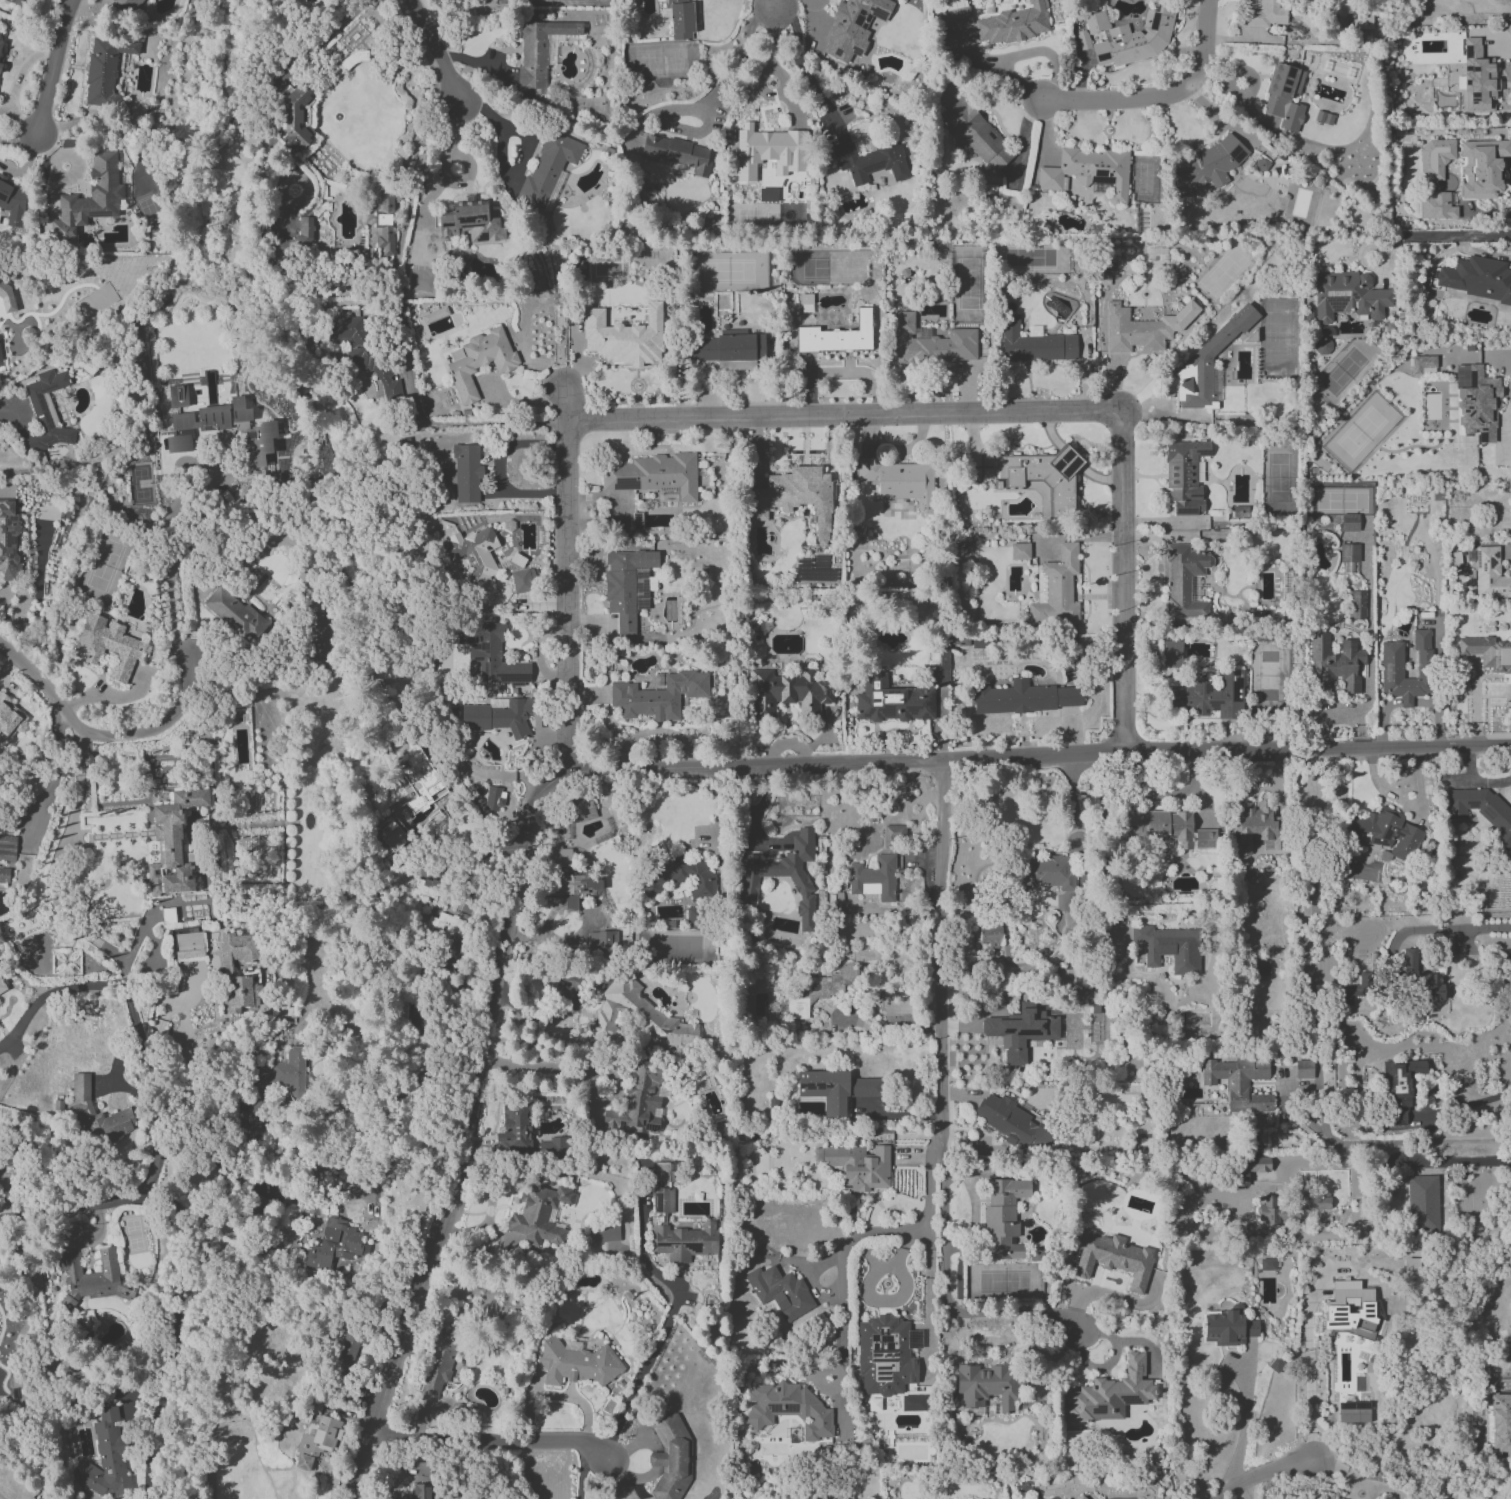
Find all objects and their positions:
building: (23, 3)
building: (129, 4)
building: (1498, 6)
road: (777, 7)
building: (1265, 14)
building: (955, 17)
building: (679, 19)
building: (1362, 20)
building: (1013, 24)
building: (853, 27)
building: (0, 32)
building: (1126, 38)
building: (0, 45)
road: (437, 54)
building: (1, 62)
road: (53, 68)
building: (105, 70)
road: (805, 72)
road: (760, 79)
building: (1478, 79)
road: (1162, 97)
building: (1284, 97)
road: (702, 103)
building: (295, 118)
building: (977, 134)
building: (768, 151)
building: (677, 153)
building: (1435, 159)
building: (870, 161)
road: (444, 164)
building: (1207, 165)
building: (1260, 165)
building: (1483, 167)
building: (548, 168)
building: (1089, 171)
building: (646, 193)
building: (766, 194)
building: (89, 199)
building: (13, 202)
building: (1436, 206)
building: (470, 221)
building: (384, 222)
building: (306, 228)
road: (1434, 236)
building: (1476, 279)
building: (6, 296)
building: (1348, 296)
building: (806, 303)
building: (434, 315)
building: (1144, 328)
building: (837, 336)
building: (624, 337)
building: (1034, 343)
building: (932, 344)
building: (1323, 346)
building: (730, 350)
building: (364, 353)
building: (480, 361)
building: (1209, 364)
building: (1423, 365)
building: (178, 396)
road: (14, 411)
building: (46, 413)
road: (842, 416)
road: (1508, 421)
road: (468, 423)
building: (260, 436)
building: (178, 444)
building: (467, 474)
building: (654, 475)
building: (1185, 476)
building: (1042, 480)
building: (899, 481)
building: (798, 498)
building: (636, 521)
building: (1349, 522)
building: (8, 539)
building: (1020, 551)
building: (1349, 552)
building: (475, 559)
building: (518, 560)
road: (173, 565)
building: (1490, 574)
road: (565, 575)
building: (1184, 580)
building: (522, 581)
road: (1125, 583)
building: (627, 585)
building: (1056, 589)
building: (1356, 605)
building: (235, 614)
building: (108, 645)
building: (1488, 652)
building: (1171, 654)
building: (489, 655)
building: (946, 659)
building: (1391, 660)
building: (1335, 663)
building: (786, 693)
building: (1208, 695)
building: (659, 696)
building: (1026, 697)
building: (893, 701)
building: (498, 716)
building: (9, 720)
road: (108, 736)
road: (1037, 757)
building: (420, 780)
road: (79, 787)
building: (493, 799)
road: (1072, 802)
road: (1404, 803)
building: (586, 811)
road: (756, 811)
building: (1482, 811)
building: (1161, 825)
building: (1257, 828)
building: (1386, 833)
building: (894, 835)
building: (1208, 838)
building: (173, 843)
building: (7, 848)
building: (1047, 872)
building: (4, 876)
building: (680, 877)
building: (874, 878)
building: (569, 879)
building: (801, 888)
road: (67, 921)
building: (444, 927)
road: (1441, 929)
building: (990, 936)
building: (602, 940)
building: (187, 943)
building: (1168, 947)
building: (1260, 968)
building: (229, 969)
building: (1069, 977)
building: (1421, 978)
building: (2, 987)
building: (819, 991)
road: (53, 992)
building: (1351, 993)
building: (894, 1004)
building: (638, 1017)
road: (890, 1027)
building: (1021, 1032)
road: (547, 1069)
building: (1303, 1069)
building: (1240, 1082)
building: (836, 1089)
building: (1399, 1091)
building: (638, 1101)
road: (1476, 1104)
building: (97, 1114)
road: (938, 1115)
building: (1012, 1123)
building: (514, 1127)
road: (467, 1132)
road: (1402, 1142)
building: (552, 1147)
road: (222, 1161)
road: (1451, 1161)
road: (151, 1167)
building: (859, 1167)
building: (1249, 1168)
building: (664, 1172)
building: (2, 1178)
building: (663, 1200)
building: (1422, 1204)
road: (63, 1208)
building: (1290, 1208)
building: (539, 1214)
building: (1004, 1217)
building: (604, 1233)
building: (682, 1240)
building: (334, 1246)
building: (1113, 1258)
building: (1267, 1264)
building: (1411, 1265)
road: (841, 1289)
building: (780, 1292)
building: (1349, 1309)
building: (1228, 1327)
building: (347, 1353)
building: (884, 1356)
building: (438, 1363)
building: (577, 1363)
building: (1276, 1365)
road: (1308, 1371)
road: (637, 1380)
building: (989, 1386)
building: (1111, 1394)
building: (912, 1403)
building: (788, 1409)
building: (1353, 1412)
road: (1245, 1414)
building: (1499, 1423)
road: (488, 1439)
building: (316, 1442)
building: (106, 1457)
building: (670, 1457)
road: (1339, 1475)
road: (1259, 1476)
building: (421, 1491)
road: (3, 1496)
building: (1081, 1497)
building: (1064, 1498)

